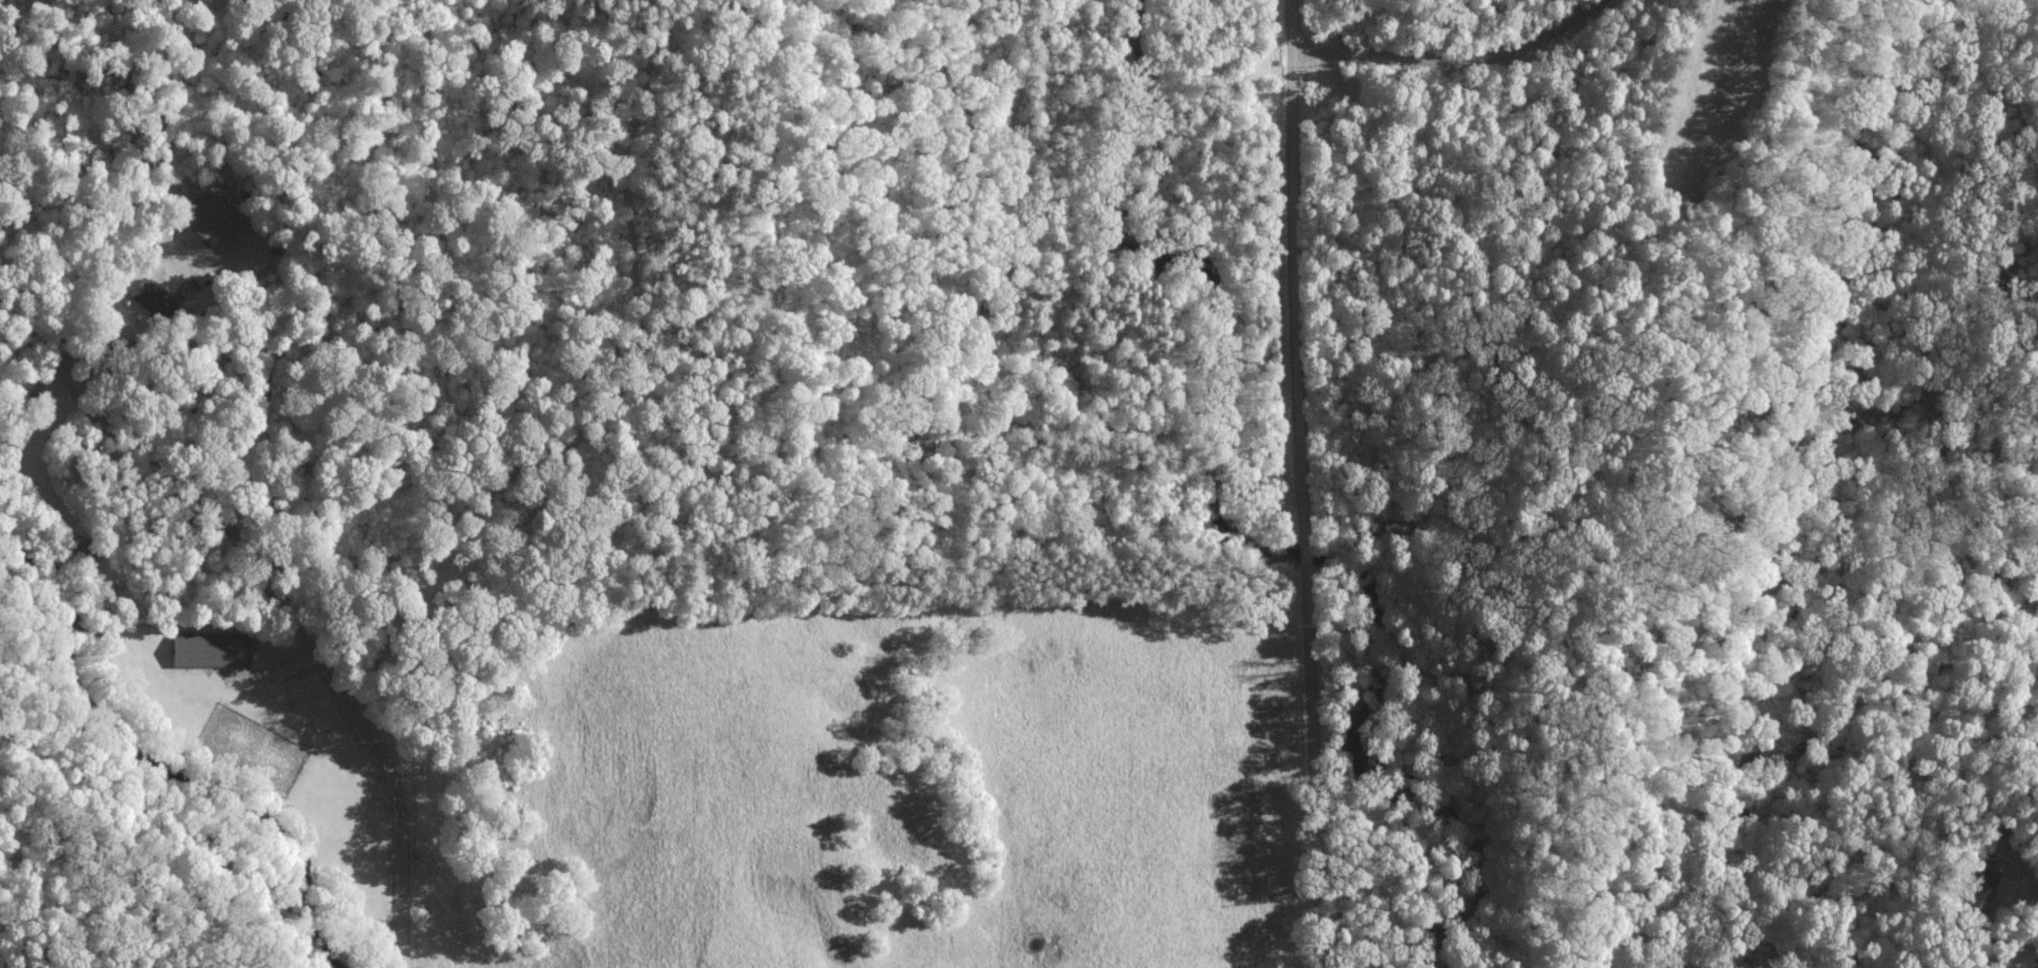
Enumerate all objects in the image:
road: (1456, 49)
building: (209, 217)
road: (1294, 271)
building: (152, 298)
road: (136, 344)
road: (1304, 555)
road: (279, 595)
building: (212, 649)
road: (1313, 768)
road: (2018, 877)

